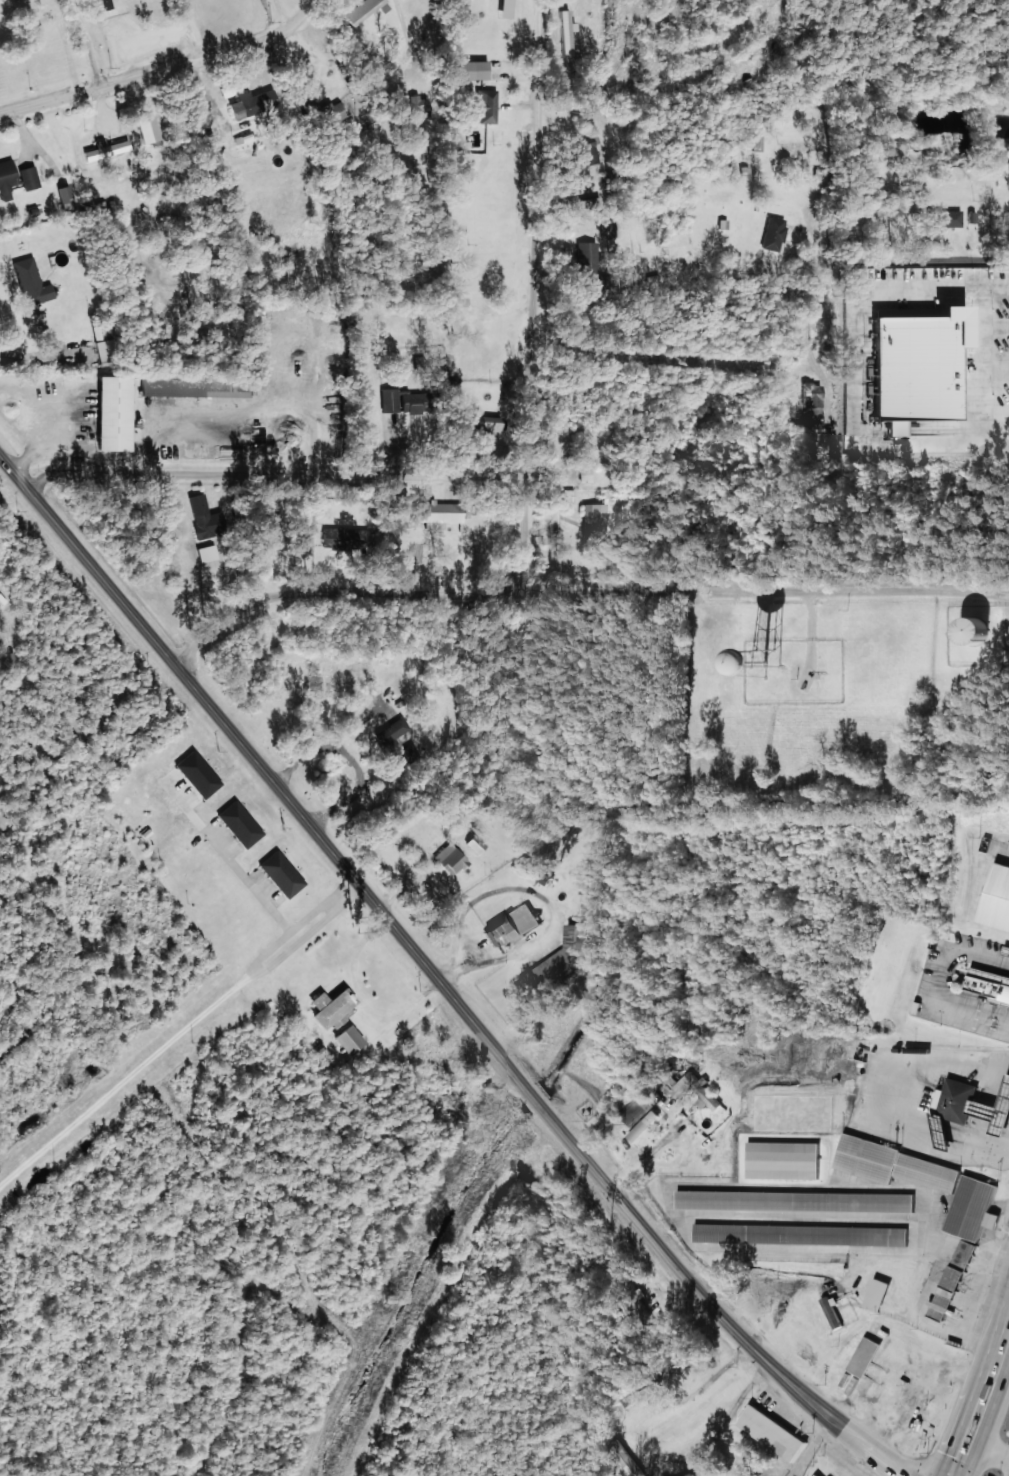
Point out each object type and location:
building: (506, 8)
building: (364, 10)
road: (240, 19)
building: (565, 32)
road: (91, 41)
road: (163, 64)
building: (473, 69)
building: (254, 105)
building: (487, 106)
building: (329, 112)
building: (148, 130)
building: (757, 142)
building: (801, 146)
building: (105, 149)
building: (588, 151)
building: (28, 177)
building: (7, 178)
building: (65, 197)
building: (587, 202)
building: (32, 213)
road: (846, 215)
building: (948, 218)
building: (607, 230)
building: (773, 233)
building: (585, 258)
road: (926, 264)
building: (31, 281)
road: (823, 283)
road: (526, 294)
road: (975, 348)
building: (104, 349)
building: (195, 387)
building: (812, 398)
building: (388, 400)
building: (415, 402)
building: (104, 410)
building: (484, 424)
road: (929, 439)
road: (272, 473)
building: (586, 474)
building: (438, 514)
building: (205, 518)
building: (595, 520)
building: (344, 538)
building: (206, 553)
road: (766, 581)
road: (336, 593)
building: (977, 631)
building: (789, 662)
water tower: (748, 689)
building: (381, 741)
building: (239, 824)
building: (477, 845)
building: (451, 859)
building: (534, 871)
building: (281, 873)
building: (999, 899)
building: (515, 927)
building: (1007, 950)
building: (564, 957)
road: (438, 978)
building: (991, 985)
building: (332, 1007)
building: (350, 1040)
building: (700, 1090)
building: (960, 1099)
building: (995, 1113)
building: (645, 1125)
building: (896, 1164)
building: (797, 1201)
building: (974, 1208)
building: (802, 1234)
building: (952, 1287)
building: (880, 1293)
building: (636, 1301)
building: (833, 1312)
road: (984, 1401)
building: (774, 1432)
building: (633, 1466)
building: (819, 1474)

